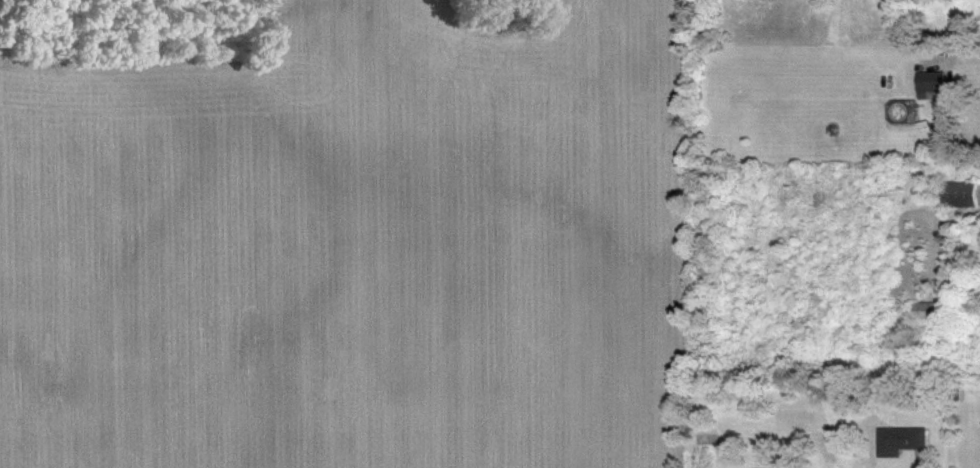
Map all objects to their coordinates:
building: (935, 85)
building: (962, 194)
building: (930, 311)
building: (905, 441)

